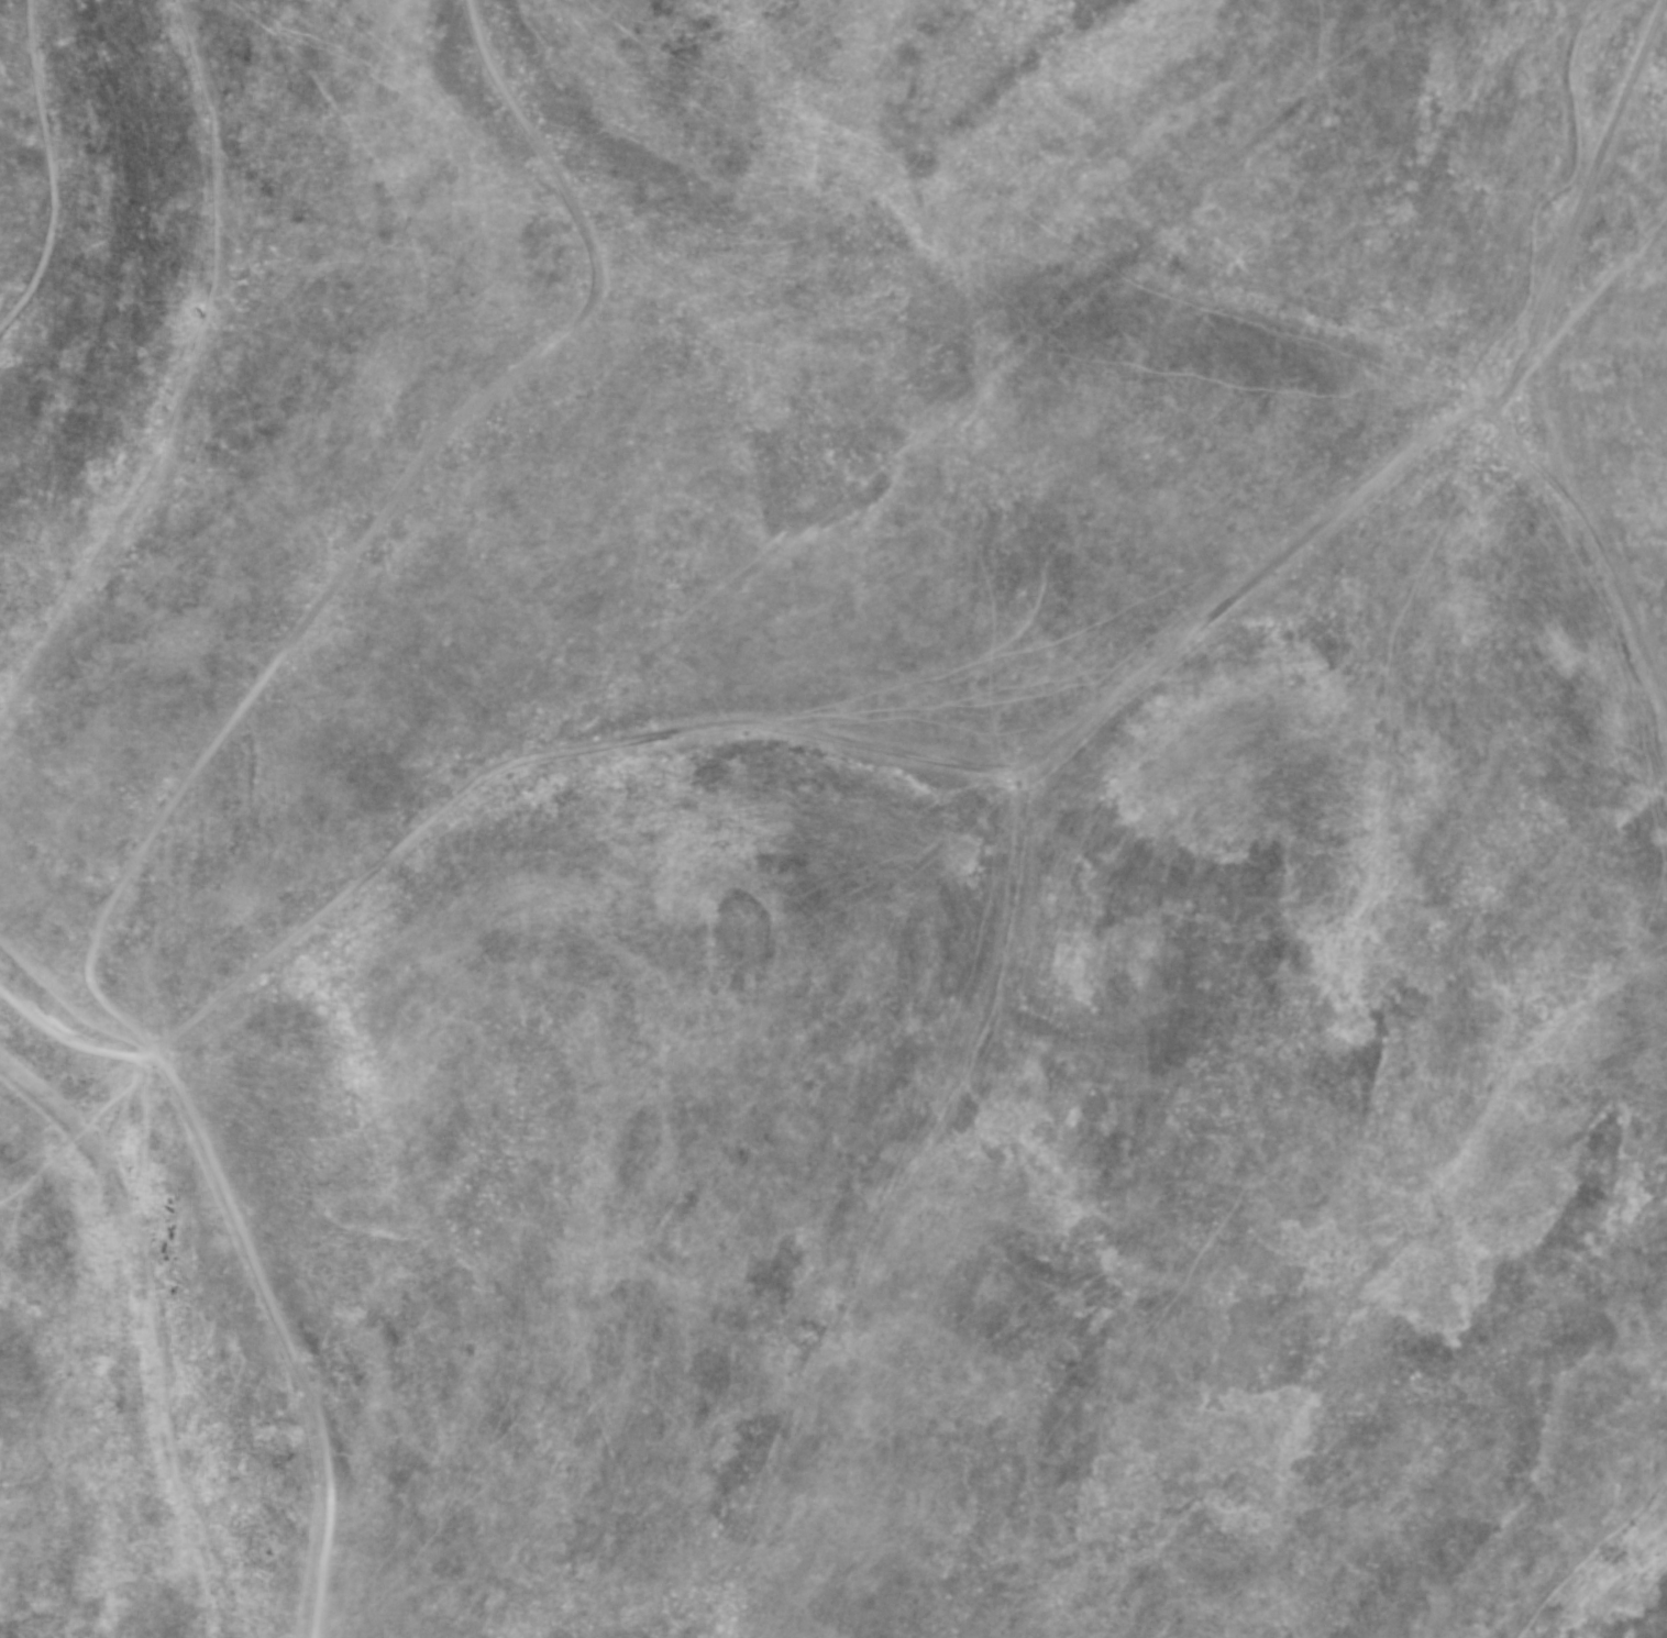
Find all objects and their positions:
road: (54, 174)
road: (1603, 554)
road: (967, 762)
road: (197, 777)

